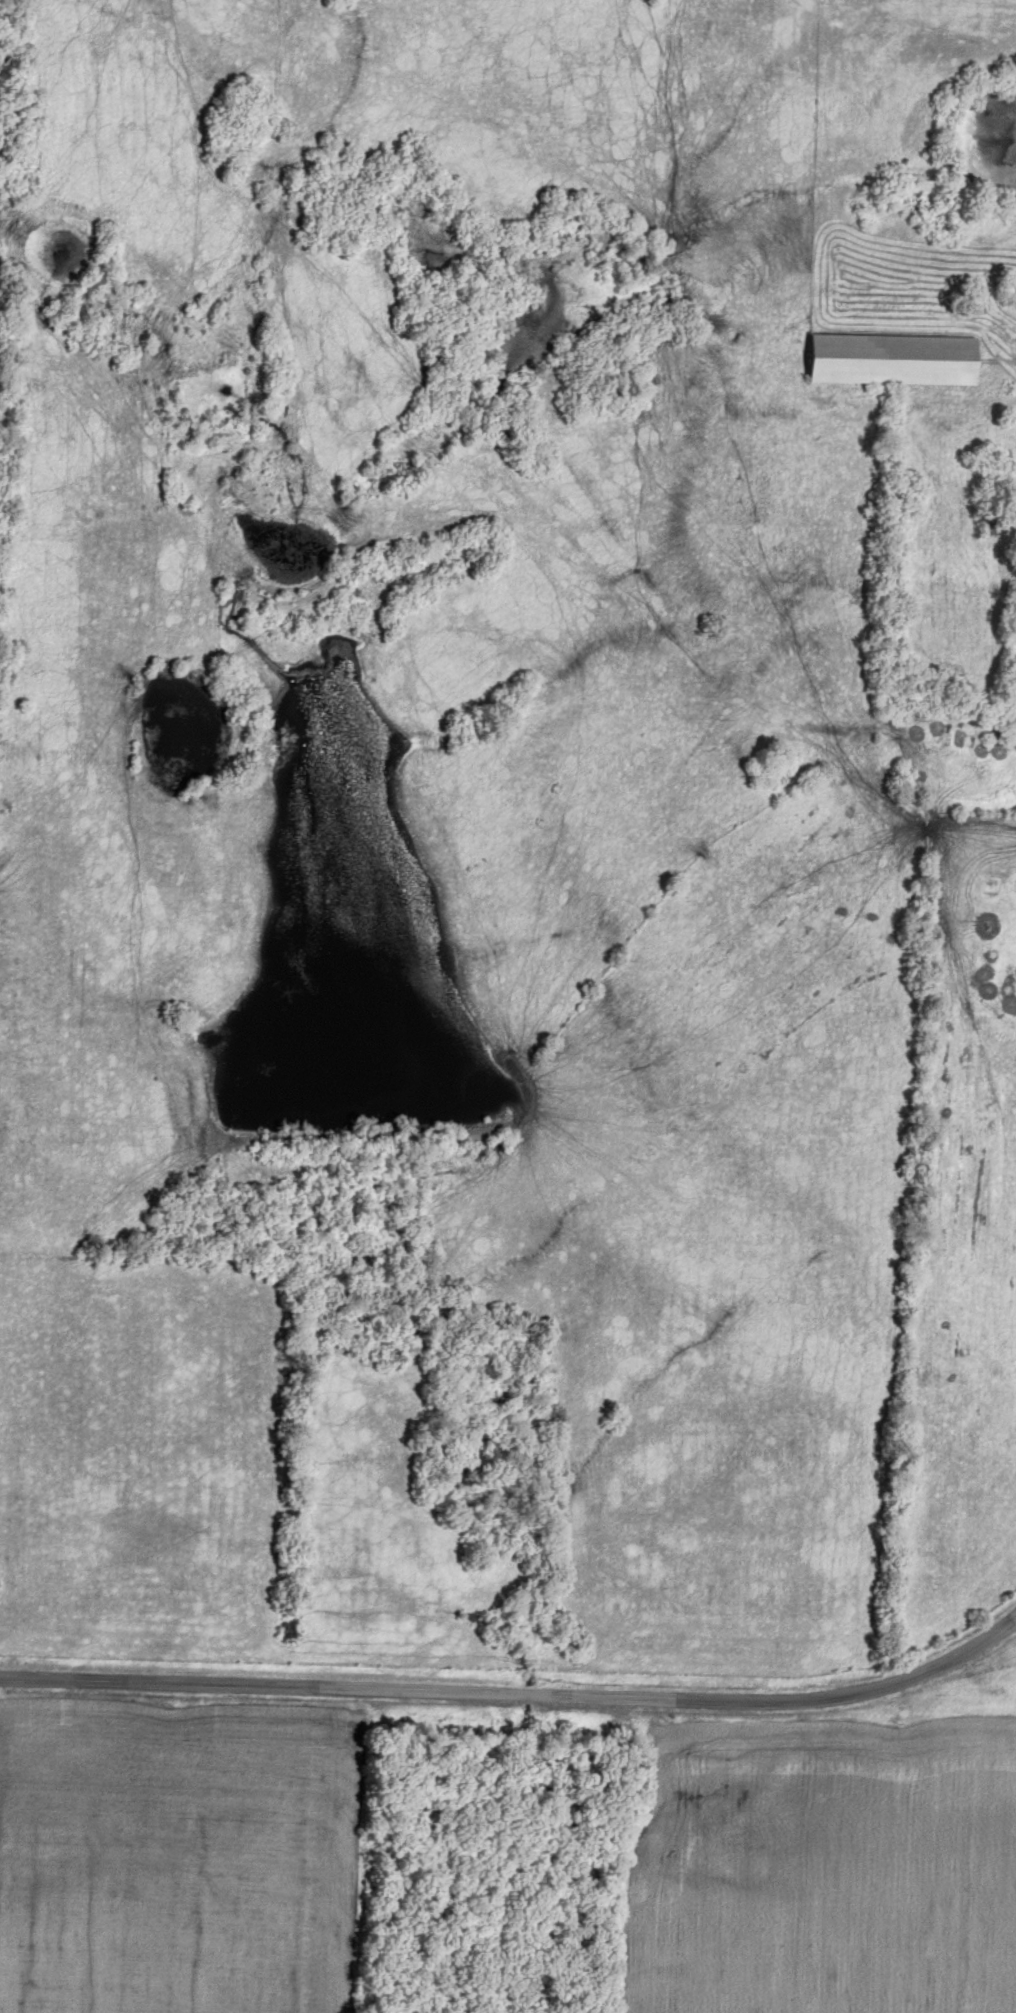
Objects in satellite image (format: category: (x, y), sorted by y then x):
building: (890, 361)
building: (988, 524)
building: (1011, 728)
road: (515, 1696)

